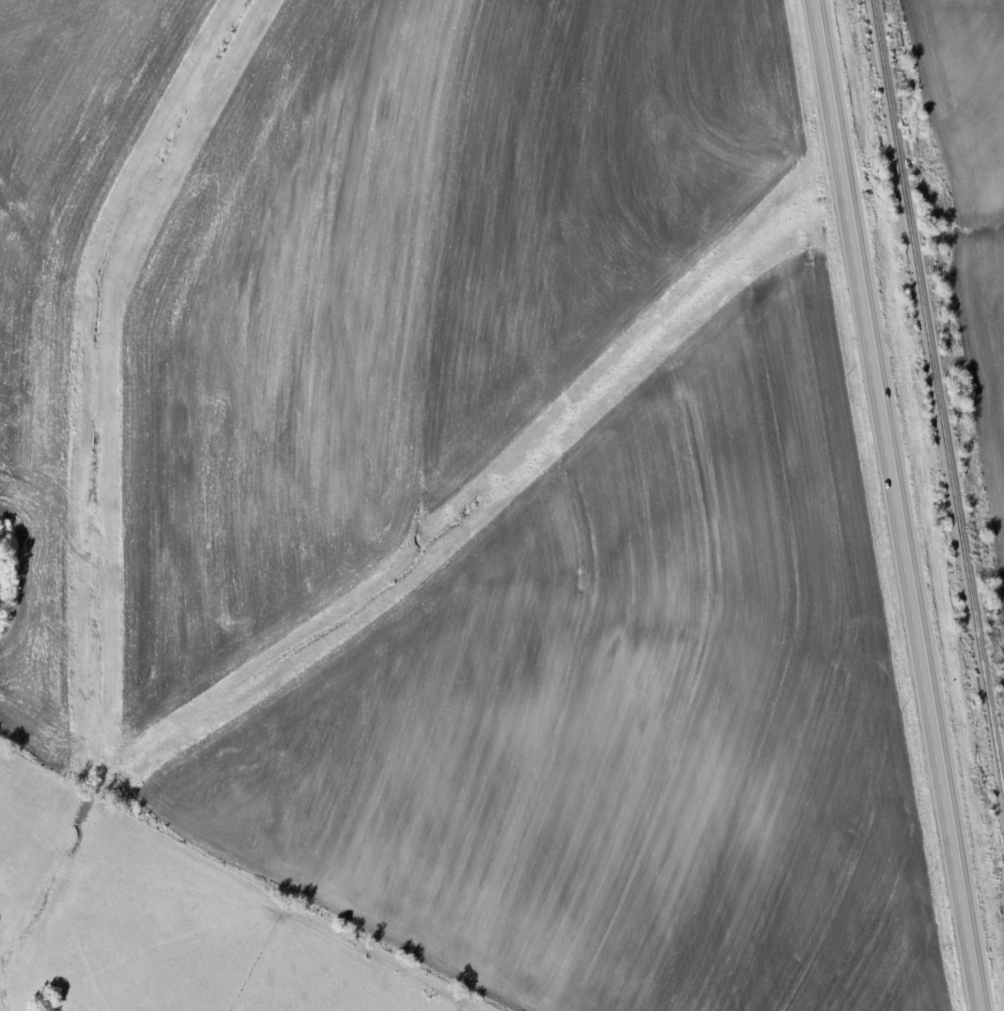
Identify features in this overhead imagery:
railway: (940, 389)
road: (901, 505)

